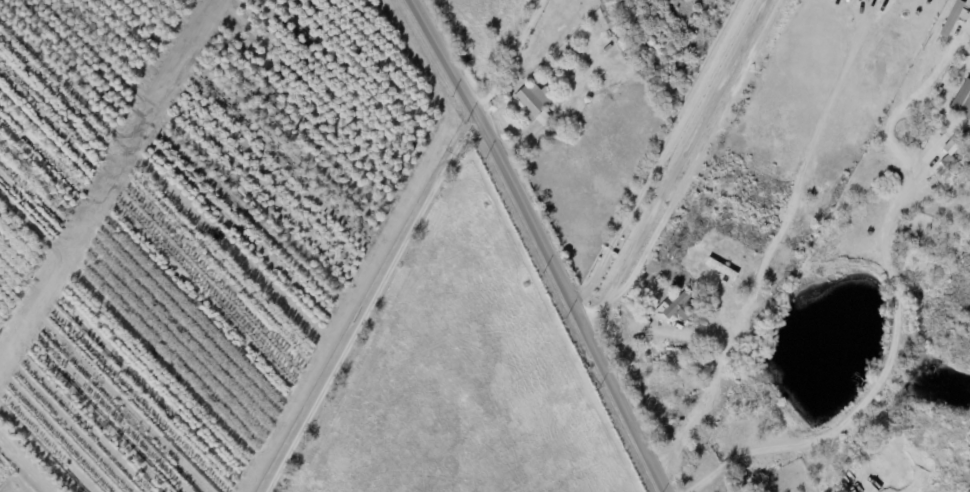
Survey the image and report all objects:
building: (604, 2)
building: (951, 18)
building: (610, 19)
building: (572, 49)
building: (625, 51)
road: (511, 58)
building: (562, 60)
building: (643, 80)
building: (534, 100)
building: (963, 100)
building: (544, 118)
building: (967, 138)
road: (687, 146)
road: (664, 154)
building: (949, 162)
road: (692, 167)
road: (541, 242)
road: (772, 246)
building: (674, 251)
building: (720, 268)
building: (709, 294)
building: (698, 299)
road: (370, 302)
building: (676, 307)
road: (886, 368)
building: (739, 478)

